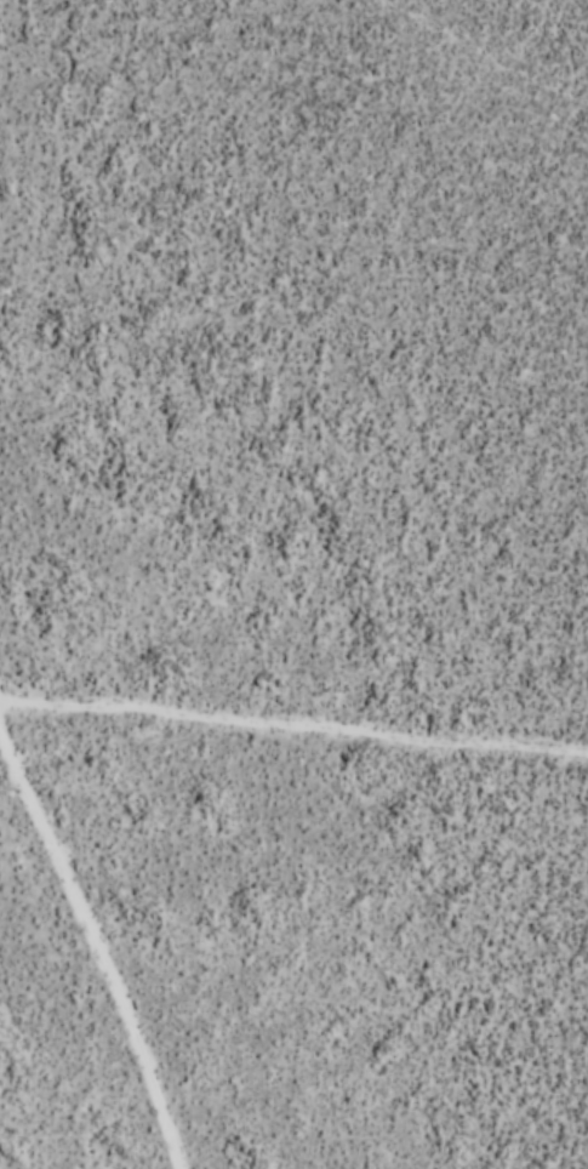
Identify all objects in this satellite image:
road: (293, 722)
road: (98, 941)

